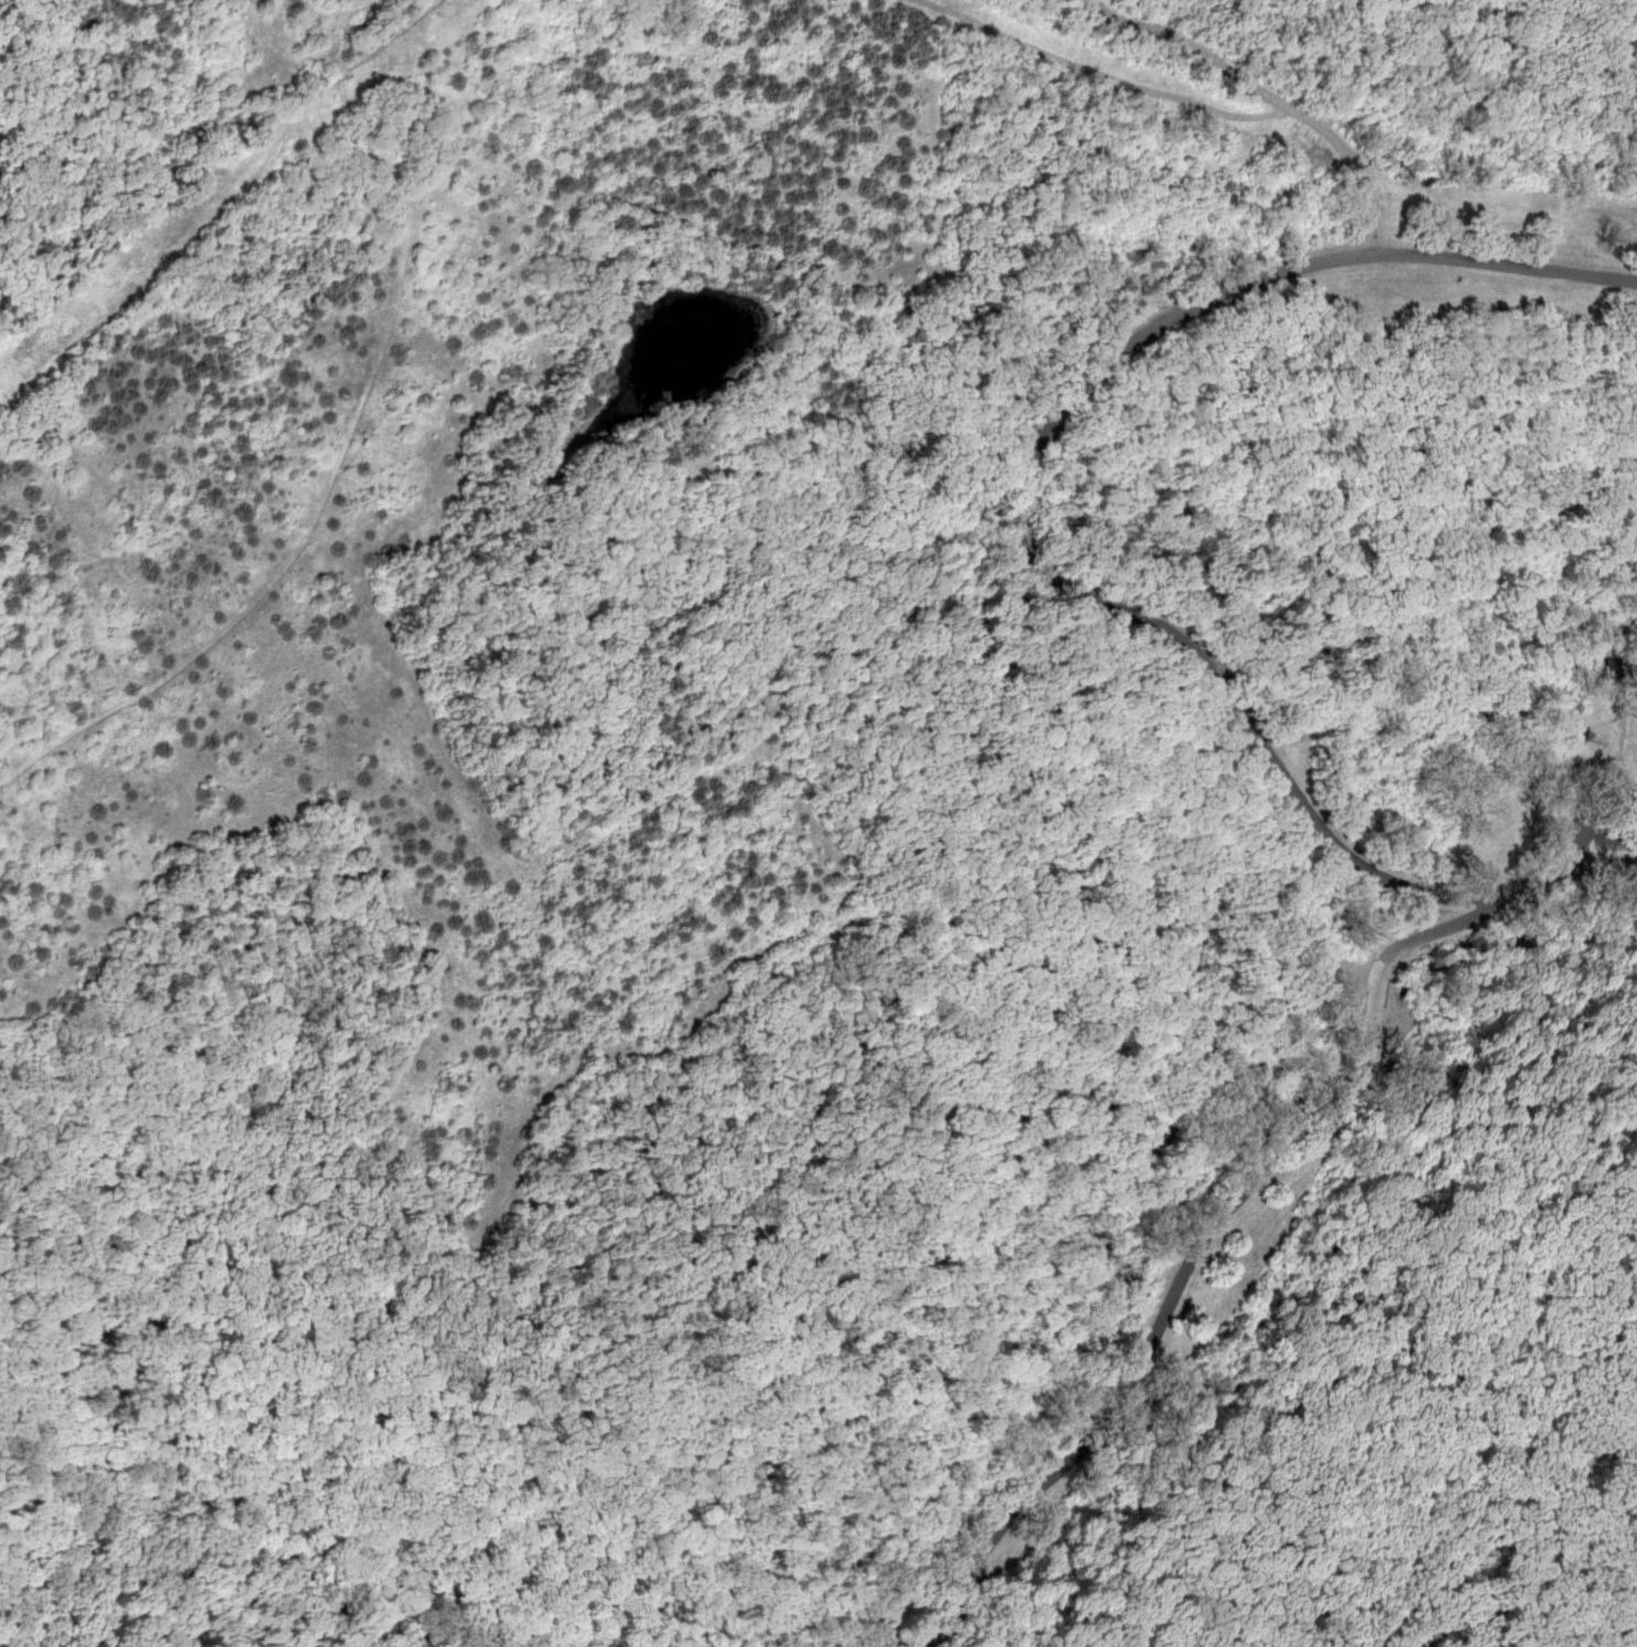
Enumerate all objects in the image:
road: (1016, 540)
road: (1629, 723)
park: (818, 823)
parking lot: (1601, 827)
road: (1591, 835)
road: (1040, 997)
road: (1183, 1276)
road: (148, 1286)
road: (212, 1505)

